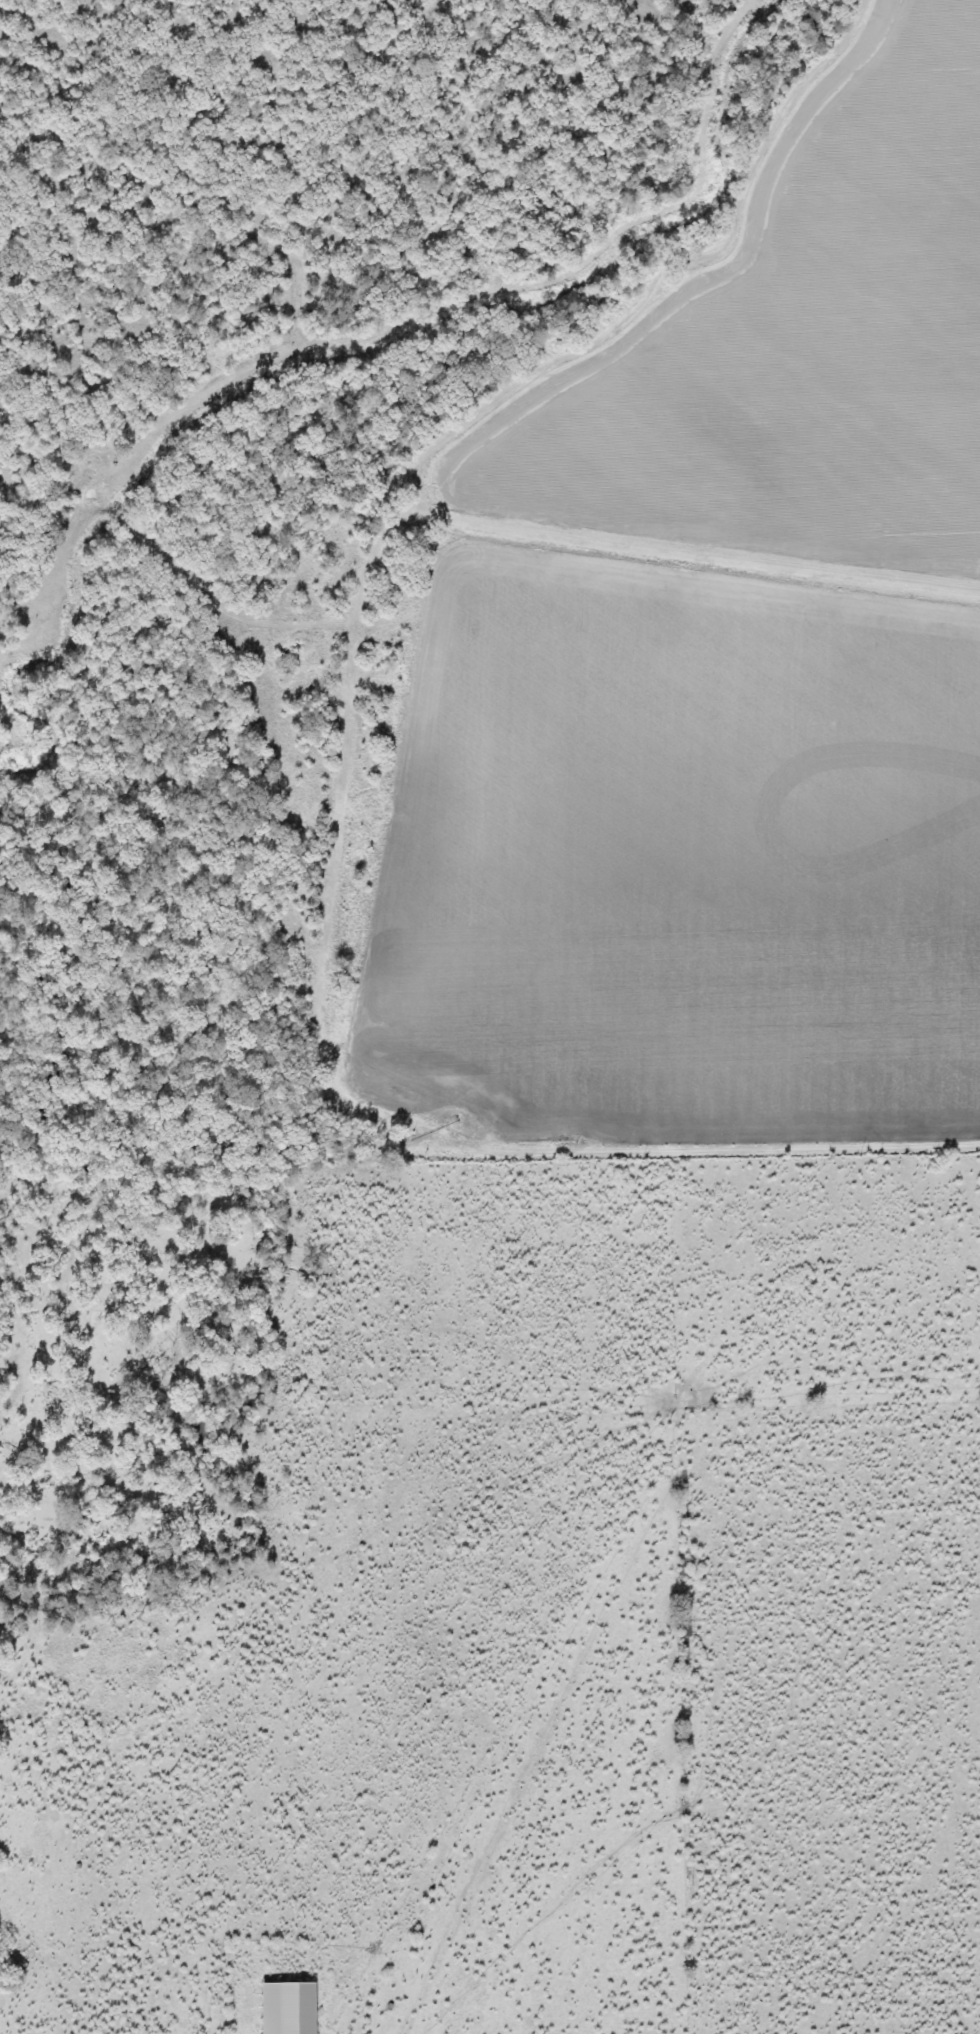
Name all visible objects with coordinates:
building: (685, 1628)

